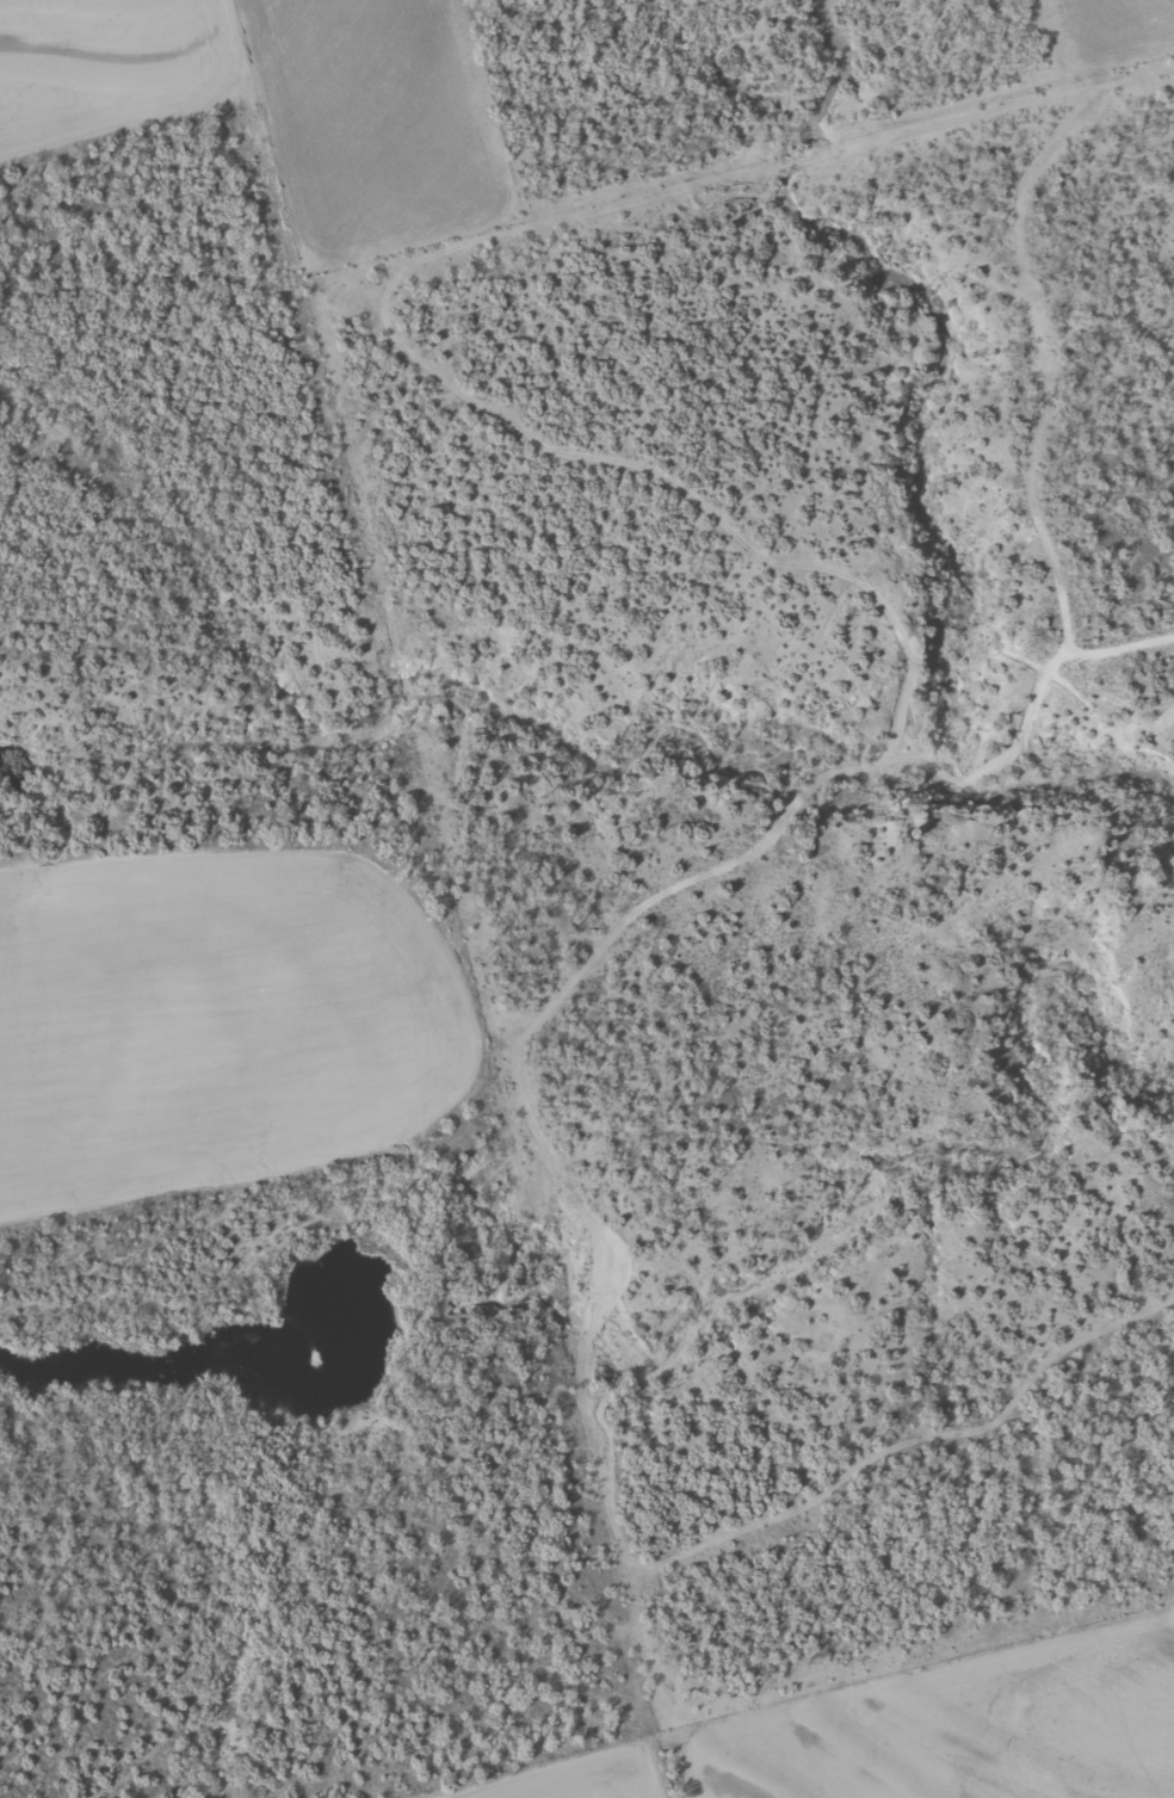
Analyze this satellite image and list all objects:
road: (809, 1706)

